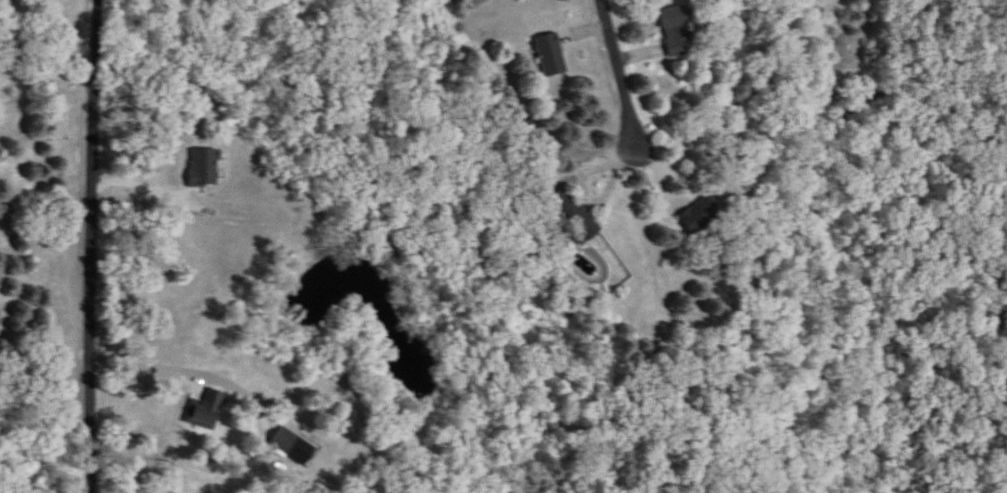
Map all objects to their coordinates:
building: (677, 29)
building: (552, 55)
road: (622, 72)
road: (46, 76)
building: (204, 168)
road: (142, 173)
building: (576, 214)
building: (701, 217)
road: (92, 246)
road: (51, 317)
road: (153, 365)
building: (205, 411)
building: (286, 441)

